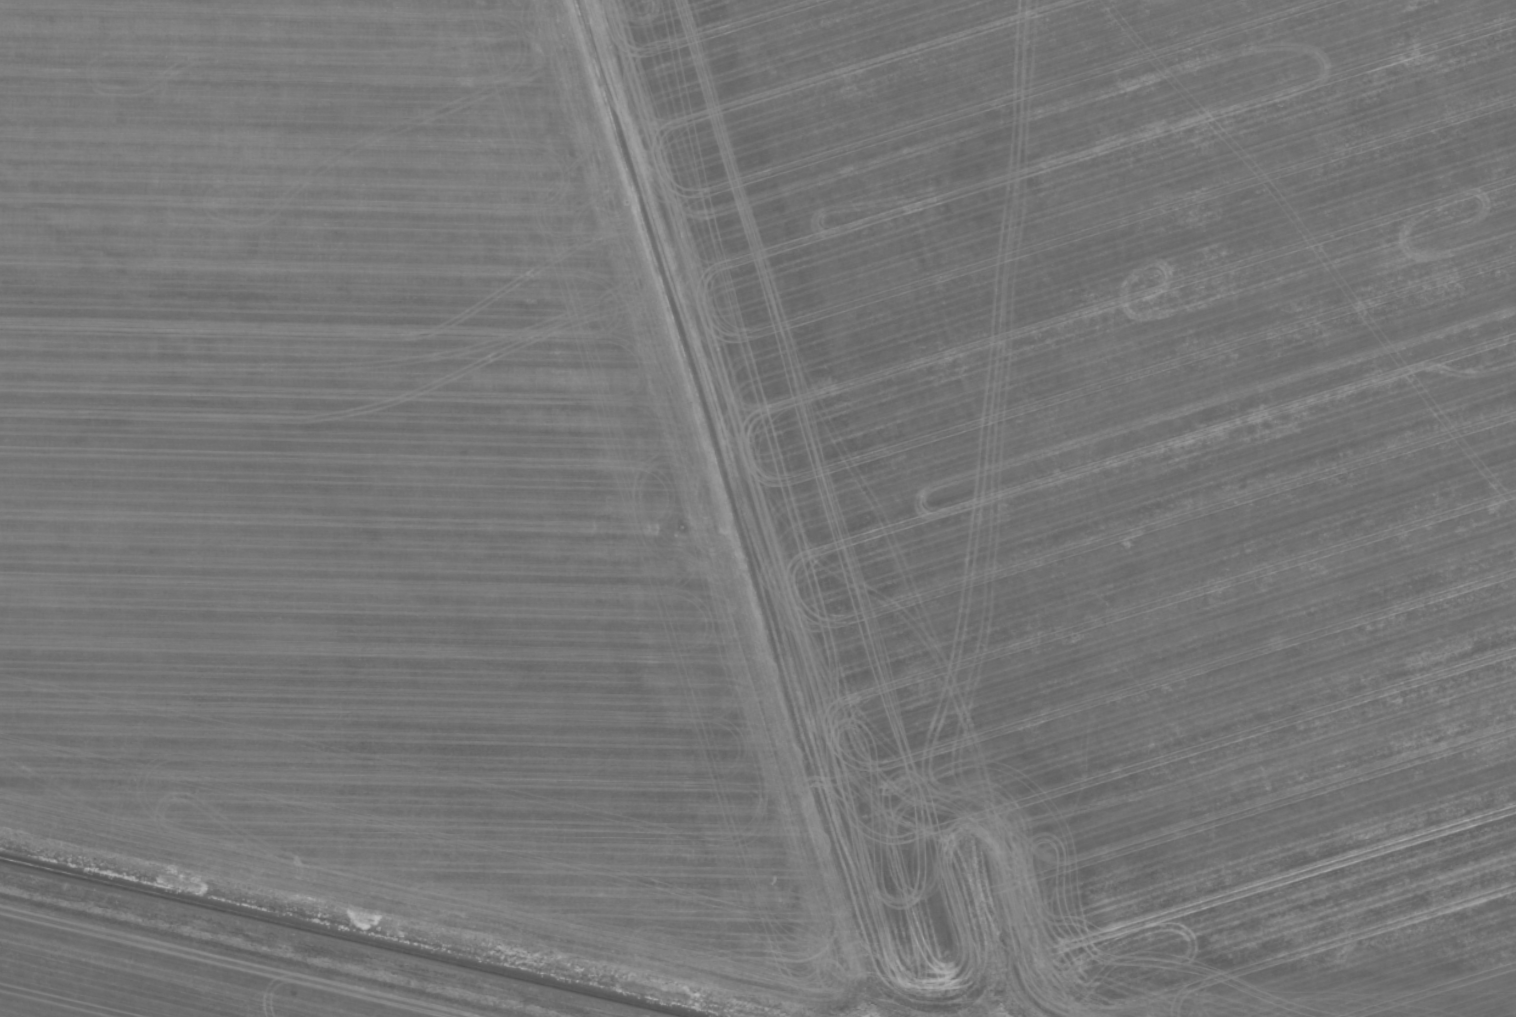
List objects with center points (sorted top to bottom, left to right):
railway: (348, 938)

